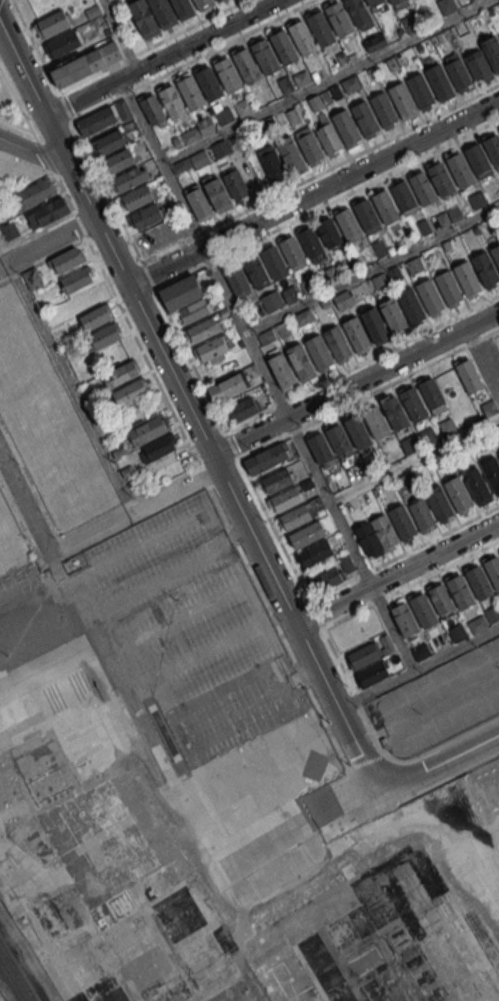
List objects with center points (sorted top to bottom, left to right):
building: (216, 0)
building: (219, 0)
building: (373, 2)
building: (395, 2)
building: (203, 3)
building: (446, 6)
building: (182, 8)
building: (92, 11)
building: (163, 12)
building: (357, 12)
building: (143, 18)
building: (338, 19)
building: (54, 22)
building: (320, 29)
road: (118, 35)
building: (439, 36)
building: (301, 38)
building: (376, 42)
building: (64, 43)
road: (150, 46)
building: (419, 46)
building: (283, 47)
building: (491, 51)
building: (264, 56)
road: (162, 58)
road: (41, 59)
building: (342, 59)
building: (86, 63)
building: (391, 64)
building: (246, 65)
building: (478, 66)
building: (227, 74)
building: (458, 74)
building: (302, 78)
road: (325, 81)
building: (439, 81)
building: (208, 82)
building: (350, 84)
building: (284, 85)
building: (420, 90)
building: (335, 91)
building: (189, 92)
road: (121, 94)
building: (402, 101)
building: (172, 102)
building: (315, 102)
road: (18, 105)
building: (243, 106)
building: (383, 108)
building: (153, 109)
building: (224, 115)
building: (292, 116)
building: (365, 117)
building: (268, 120)
building: (96, 122)
road: (16, 124)
building: (205, 125)
building: (345, 126)
building: (188, 135)
building: (328, 139)
building: (176, 142)
building: (108, 143)
building: (309, 147)
building: (221, 148)
building: (493, 149)
road: (35, 154)
road: (45, 156)
building: (290, 156)
building: (199, 159)
building: (477, 159)
building: (118, 161)
building: (270, 163)
road: (160, 164)
building: (179, 166)
building: (459, 169)
road: (320, 172)
building: (130, 178)
building: (440, 179)
building: (236, 185)
building: (423, 188)
road: (313, 193)
building: (35, 194)
building: (217, 194)
building: (137, 197)
building: (404, 197)
building: (477, 200)
building: (198, 202)
road: (326, 203)
building: (385, 206)
building: (454, 212)
building: (46, 213)
building: (366, 215)
building: (498, 215)
building: (145, 216)
building: (441, 218)
building: (492, 223)
building: (348, 225)
building: (424, 226)
building: (9, 230)
road: (36, 230)
building: (328, 232)
road: (47, 242)
building: (311, 243)
building: (445, 244)
building: (379, 247)
building: (292, 252)
building: (495, 254)
road: (42, 259)
building: (66, 260)
building: (274, 262)
building: (415, 264)
road: (371, 268)
building: (485, 268)
building: (256, 271)
building: (331, 272)
building: (394, 273)
building: (32, 278)
building: (466, 278)
building: (77, 279)
building: (237, 279)
building: (380, 281)
building: (307, 285)
building: (448, 287)
building: (181, 292)
building: (289, 293)
building: (429, 296)
building: (272, 300)
building: (342, 300)
building: (325, 302)
building: (411, 305)
building: (195, 310)
building: (393, 315)
building: (96, 316)
building: (303, 317)
road: (129, 324)
building: (375, 325)
building: (204, 328)
building: (282, 329)
road: (244, 333)
building: (355, 333)
building: (105, 335)
building: (265, 336)
building: (337, 343)
road: (182, 344)
building: (214, 348)
building: (318, 351)
park: (492, 352)
building: (300, 361)
road: (361, 361)
road: (482, 362)
building: (281, 370)
building: (251, 371)
building: (121, 373)
building: (468, 375)
road: (354, 384)
building: (226, 387)
road: (69, 388)
building: (131, 391)
road: (369, 393)
building: (432, 393)
building: (413, 403)
building: (488, 407)
road: (188, 408)
building: (243, 408)
building: (394, 412)
building: (375, 422)
road: (288, 425)
building: (446, 425)
building: (149, 430)
building: (357, 431)
building: (495, 432)
building: (428, 434)
building: (338, 439)
building: (409, 443)
road: (231, 444)
building: (318, 446)
building: (158, 447)
building: (119, 452)
building: (498, 454)
building: (265, 458)
road: (413, 458)
building: (126, 470)
building: (491, 473)
building: (277, 481)
building: (401, 481)
building: (306, 484)
building: (476, 486)
building: (457, 493)
building: (285, 498)
road: (328, 501)
building: (316, 502)
building: (438, 502)
road: (23, 508)
road: (134, 513)
building: (297, 515)
building: (420, 515)
building: (401, 522)
road: (273, 529)
building: (383, 530)
road: (70, 532)
building: (305, 535)
building: (367, 538)
building: (315, 552)
road: (403, 552)
building: (347, 564)
building: (493, 570)
road: (397, 574)
building: (325, 579)
building: (478, 582)
road: (410, 584)
building: (460, 591)
building: (440, 598)
building: (422, 610)
building: (492, 613)
road: (388, 619)
building: (404, 619)
road: (274, 622)
building: (477, 624)
building: (456, 632)
road: (454, 647)
building: (420, 651)
building: (363, 655)
building: (372, 673)
road: (373, 687)
road: (353, 693)
road: (457, 737)
road: (443, 761)
road: (429, 784)
road: (355, 785)
road: (309, 815)
building: (398, 938)
railway: (17, 971)
railway: (12, 979)

